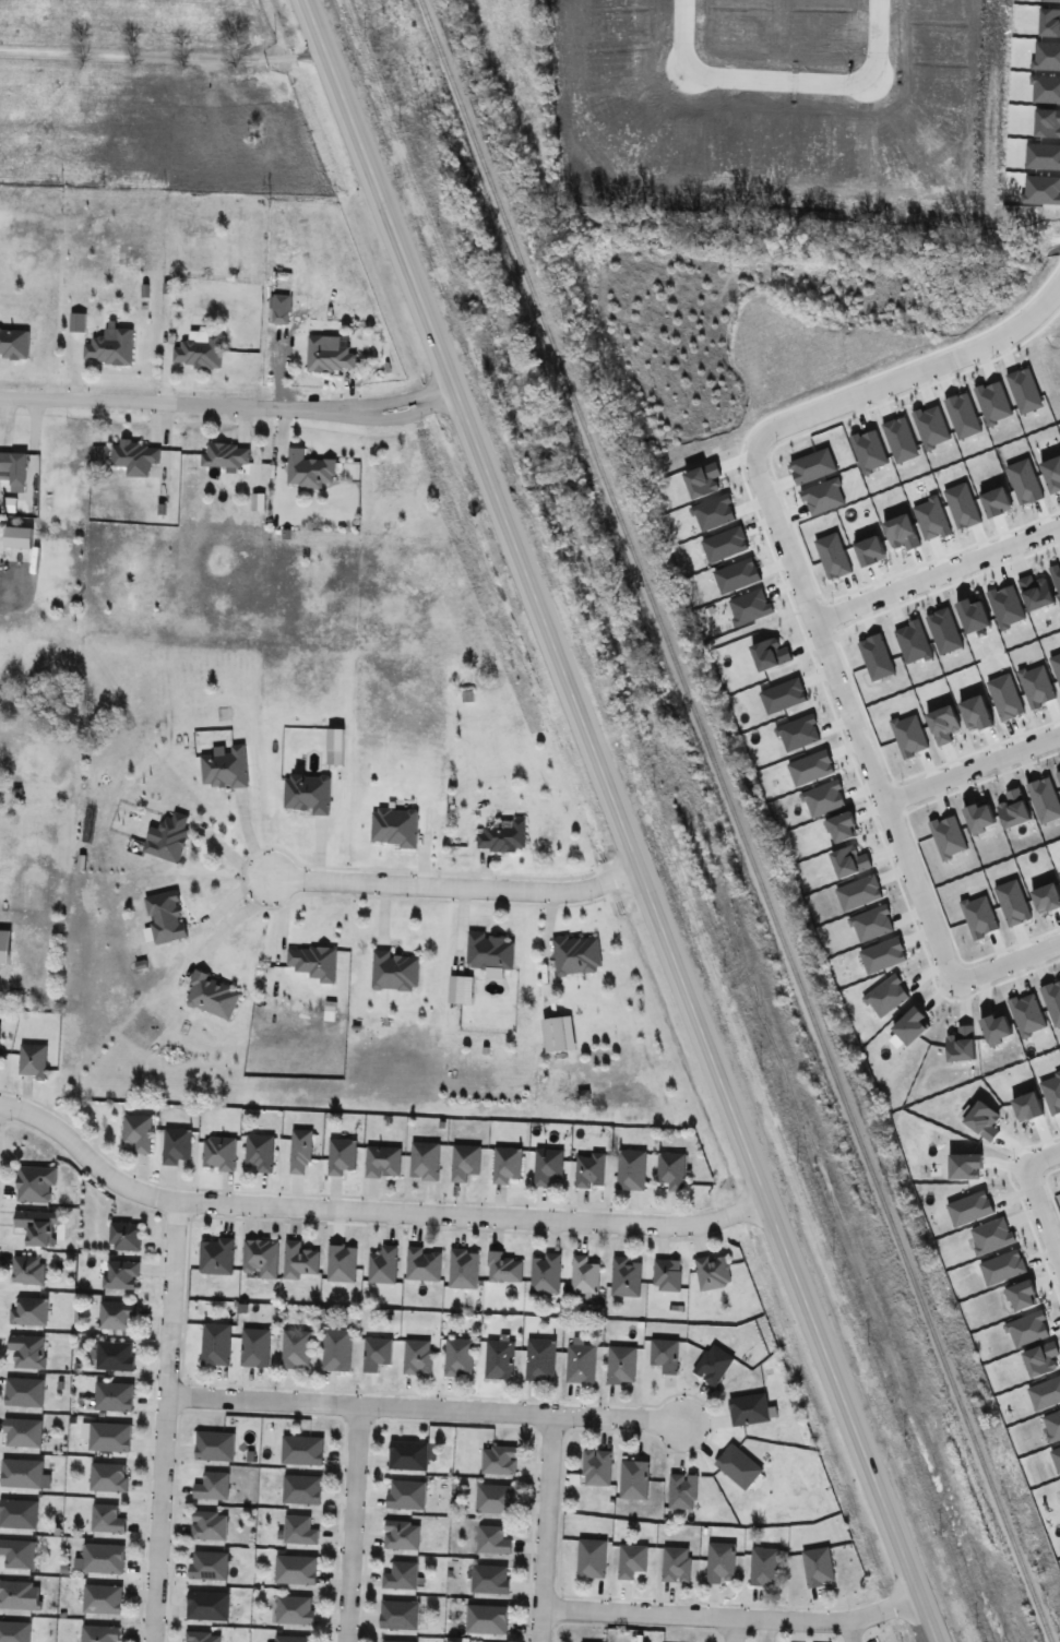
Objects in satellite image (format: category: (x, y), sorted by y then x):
road: (682, 37)
road: (877, 45)
road: (163, 55)
road: (779, 82)
building: (14, 342)
building: (109, 346)
building: (198, 348)
building: (329, 353)
road: (909, 370)
road: (227, 406)
building: (225, 454)
building: (135, 457)
building: (7, 461)
building: (309, 468)
building: (395, 477)
road: (937, 569)
road: (13, 588)
road: (850, 712)
road: (972, 760)
building: (224, 765)
building: (307, 793)
railway: (734, 821)
road: (618, 822)
road: (324, 825)
building: (394, 826)
building: (502, 835)
building: (168, 836)
road: (455, 887)
building: (165, 916)
road: (235, 919)
building: (4, 949)
building: (489, 951)
road: (541, 951)
building: (576, 954)
road: (1010, 956)
building: (313, 962)
building: (393, 971)
building: (212, 996)
building: (33, 1060)
building: (138, 1131)
building: (177, 1145)
building: (300, 1151)
building: (260, 1152)
building: (218, 1153)
road: (1043, 1153)
building: (341, 1155)
building: (425, 1161)
building: (464, 1161)
building: (382, 1162)
building: (505, 1164)
building: (547, 1165)
building: (589, 1169)
building: (631, 1169)
building: (671, 1169)
building: (35, 1183)
road: (1043, 1209)
road: (369, 1212)
building: (39, 1226)
building: (124, 1235)
building: (215, 1256)
building: (261, 1257)
building: (299, 1260)
building: (341, 1262)
building: (421, 1263)
building: (382, 1264)
building: (503, 1268)
building: (463, 1269)
building: (27, 1270)
building: (713, 1272)
building: (545, 1273)
building: (121, 1274)
building: (583, 1274)
building: (667, 1274)
building: (626, 1276)
building: (28, 1311)
building: (117, 1313)
building: (216, 1344)
building: (254, 1347)
building: (296, 1349)
building: (336, 1349)
building: (27, 1351)
building: (376, 1354)
building: (665, 1355)
building: (115, 1356)
building: (417, 1357)
building: (457, 1357)
building: (499, 1358)
building: (539, 1359)
building: (580, 1360)
building: (621, 1361)
building: (713, 1365)
building: (23, 1392)
building: (112, 1396)
building: (750, 1409)
road: (424, 1411)
road: (163, 1423)
building: (22, 1432)
building: (109, 1437)
building: (215, 1447)
building: (302, 1450)
building: (407, 1455)
building: (499, 1461)
building: (738, 1466)
building: (596, 1467)
building: (21, 1473)
building: (108, 1477)
building: (634, 1480)
building: (212, 1487)
building: (301, 1489)
building: (682, 1491)
building: (406, 1495)
building: (495, 1499)
building: (17, 1513)
building: (106, 1519)
building: (209, 1525)
road: (354, 1525)
road: (541, 1528)
building: (299, 1531)
building: (401, 1535)
building: (492, 1540)
building: (17, 1554)
building: (103, 1558)
building: (591, 1558)
building: (631, 1560)
building: (720, 1563)
building: (676, 1564)
building: (209, 1566)
building: (764, 1567)
building: (818, 1567)
building: (295, 1570)
building: (401, 1575)
building: (490, 1579)
building: (20, 1595)
building: (102, 1599)
building: (207, 1606)
building: (291, 1609)
building: (398, 1615)
building: (486, 1619)
road: (731, 1619)
building: (14, 1631)
road: (734, 1631)
road: (765, 1631)
road: (853, 1631)
building: (99, 1634)
building: (202, 1637)
building: (293, 1639)
building: (397, 1641)

